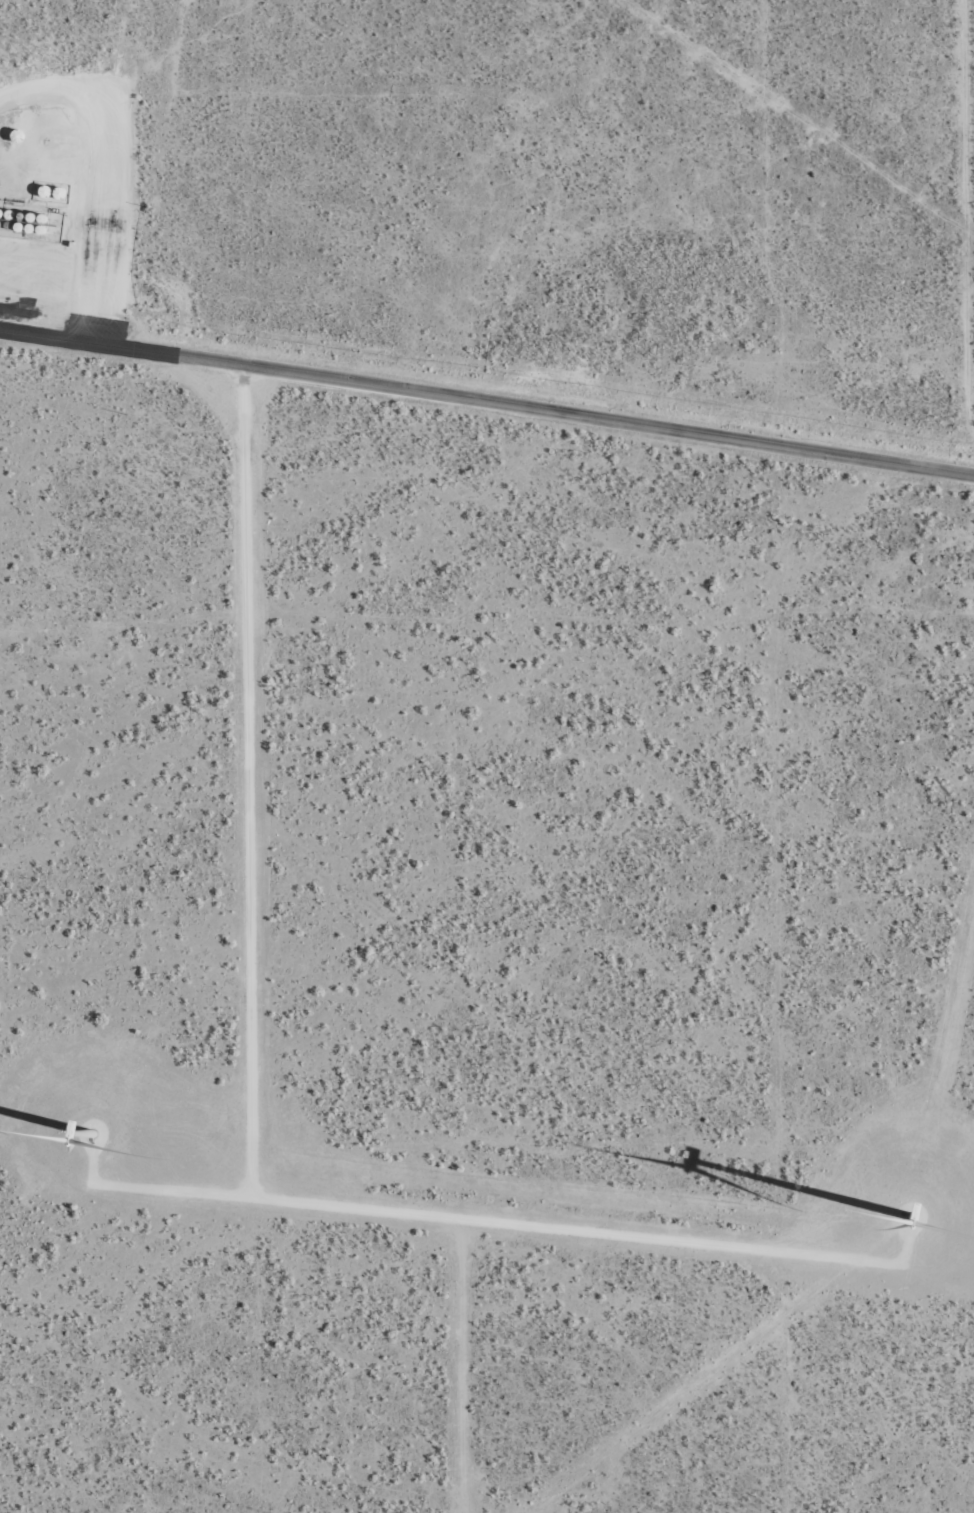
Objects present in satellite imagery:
road: (955, 215)
road: (487, 389)
road: (968, 456)
wind turbine: (69, 1125)
wind turbine: (893, 1217)

